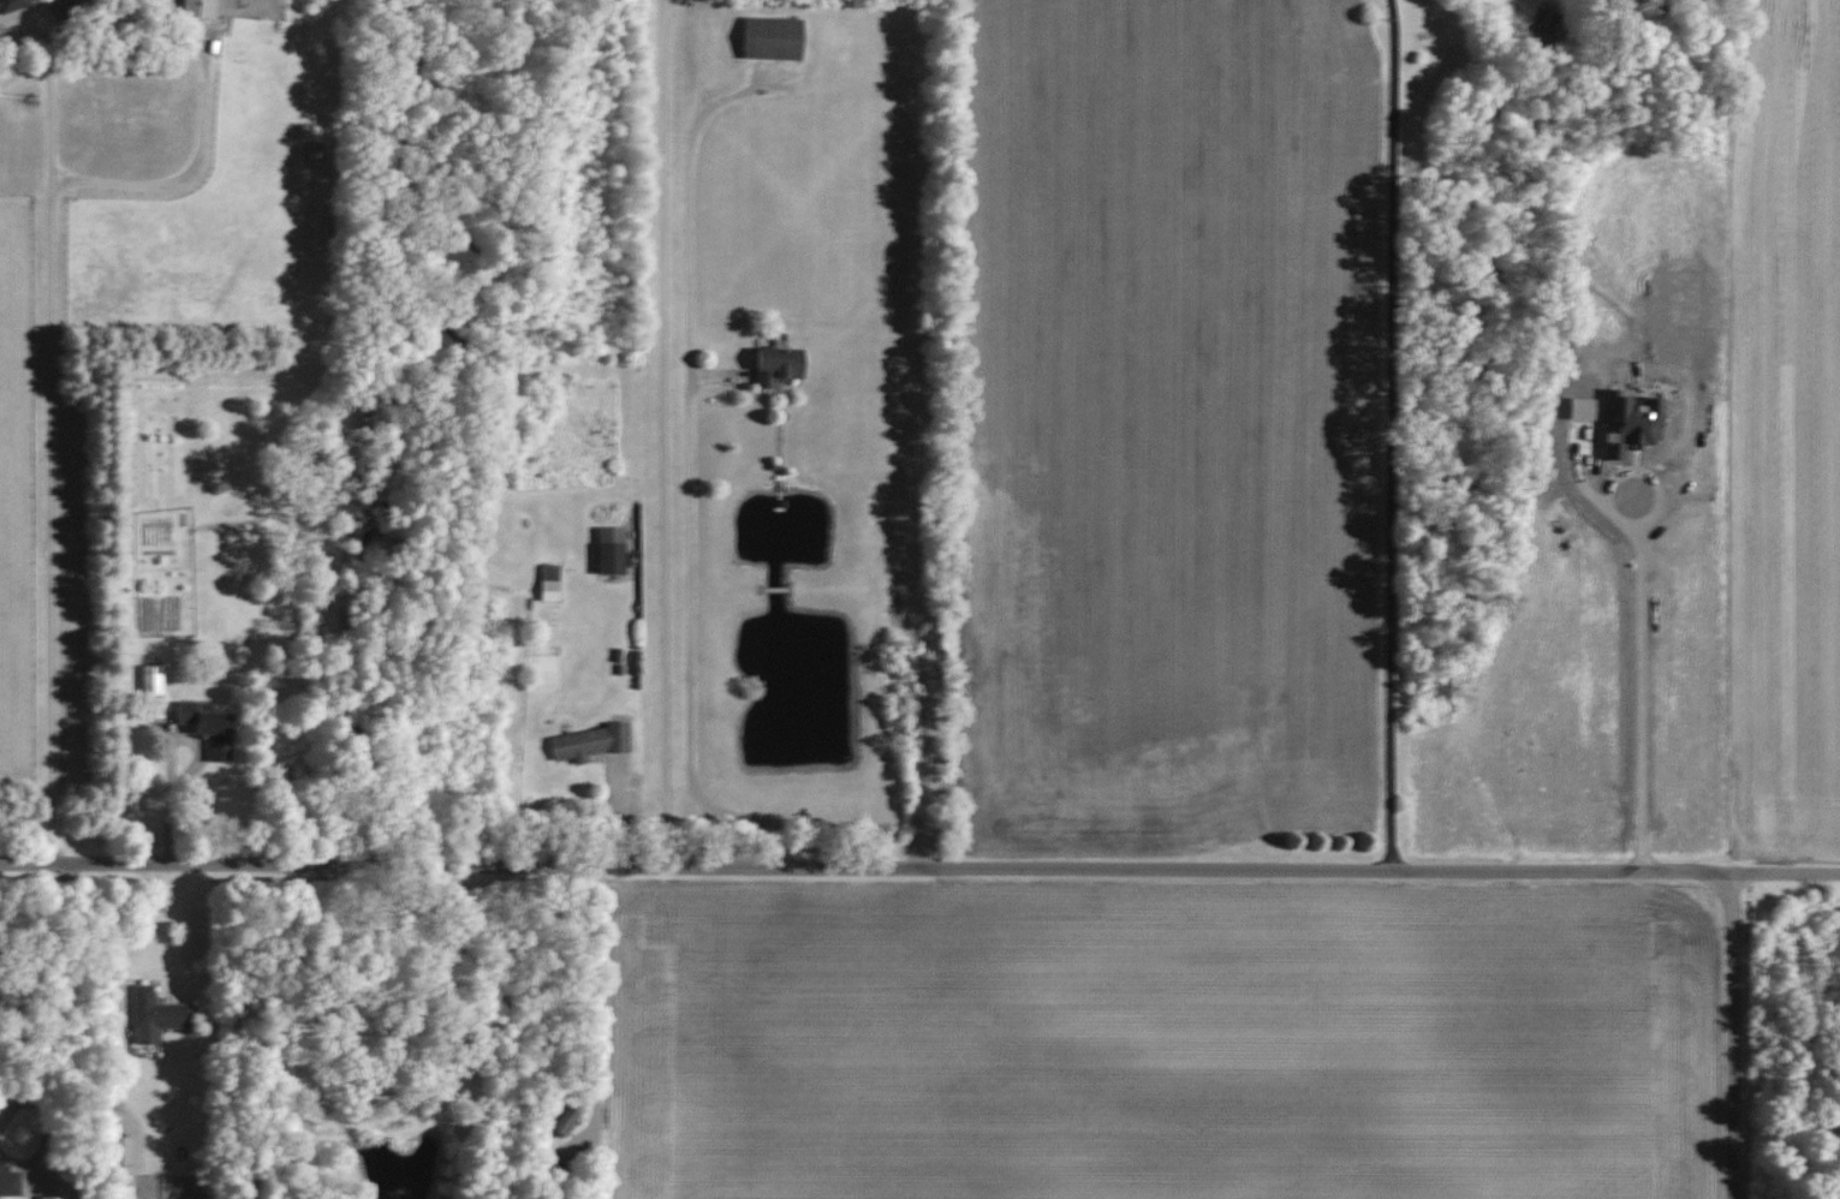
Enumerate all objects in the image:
building: (13, 5)
building: (69, 6)
building: (766, 37)
road: (179, 177)
building: (773, 365)
road: (660, 433)
road: (925, 435)
road: (1393, 435)
road: (52, 459)
building: (606, 550)
building: (544, 583)
road: (690, 649)
building: (155, 680)
building: (212, 727)
road: (919, 869)
road: (585, 973)
road: (107, 984)
building: (159, 1014)
road: (275, 1033)
road: (1732, 1034)
building: (555, 1123)
building: (130, 1147)
building: (11, 1181)
building: (55, 1197)

